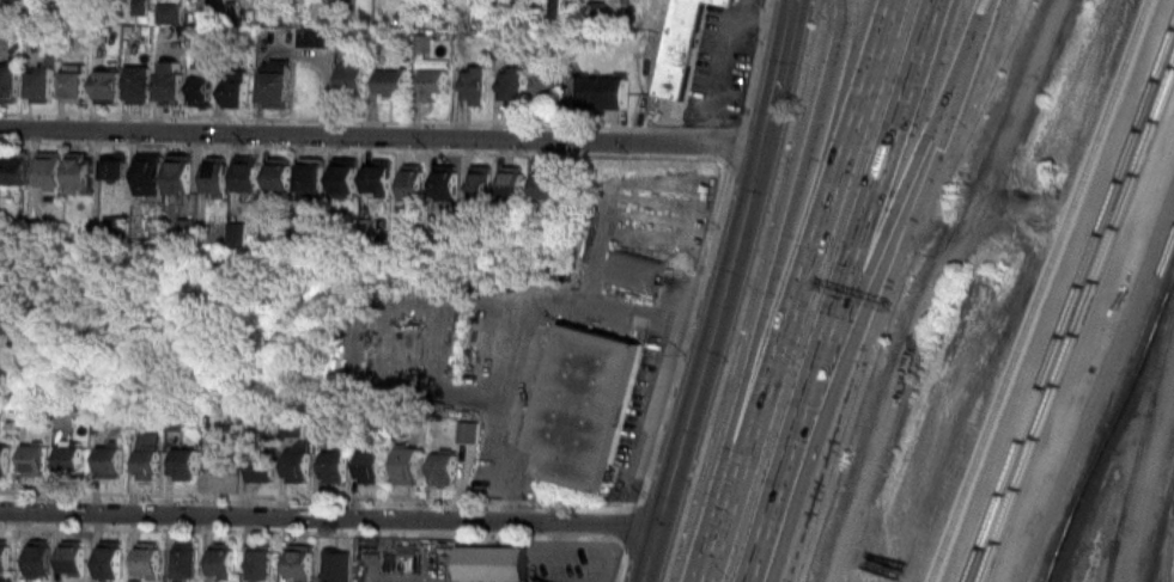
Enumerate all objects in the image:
building: (729, 0)
road: (978, 0)
building: (415, 4)
building: (676, 48)
building: (351, 75)
building: (39, 82)
building: (169, 82)
building: (390, 82)
building: (8, 84)
building: (432, 84)
building: (136, 85)
building: (473, 85)
building: (509, 85)
building: (545, 85)
building: (72, 86)
building: (105, 86)
building: (199, 86)
building: (233, 88)
building: (274, 88)
building: (598, 92)
road: (381, 136)
building: (48, 170)
building: (13, 171)
building: (111, 172)
building: (77, 173)
building: (147, 174)
building: (177, 174)
building: (247, 176)
building: (281, 178)
building: (214, 179)
building: (314, 179)
building: (348, 179)
building: (381, 179)
building: (482, 184)
building: (448, 185)
building: (515, 185)
building: (547, 186)
building: (415, 188)
road: (890, 200)
building: (238, 237)
road: (784, 264)
building: (634, 271)
building: (4, 283)
road: (793, 290)
road: (837, 290)
road: (883, 292)
road: (723, 293)
road: (8, 324)
railway: (1138, 362)
building: (0, 370)
building: (585, 408)
railway: (1111, 409)
road: (505, 421)
railway: (1140, 429)
building: (467, 434)
building: (146, 455)
building: (67, 459)
building: (31, 460)
building: (109, 460)
building: (2, 462)
building: (184, 464)
building: (220, 464)
building: (296, 464)
building: (406, 464)
building: (333, 465)
building: (367, 466)
building: (443, 468)
building: (260, 471)
road: (329, 519)
railway: (1160, 523)
railway: (1169, 532)
building: (5, 556)
building: (39, 557)
building: (72, 558)
building: (184, 559)
building: (223, 559)
building: (110, 560)
building: (147, 560)
building: (300, 562)
building: (491, 562)
building: (334, 563)
building: (260, 564)
railway: (1046, 580)
railway: (1103, 581)

